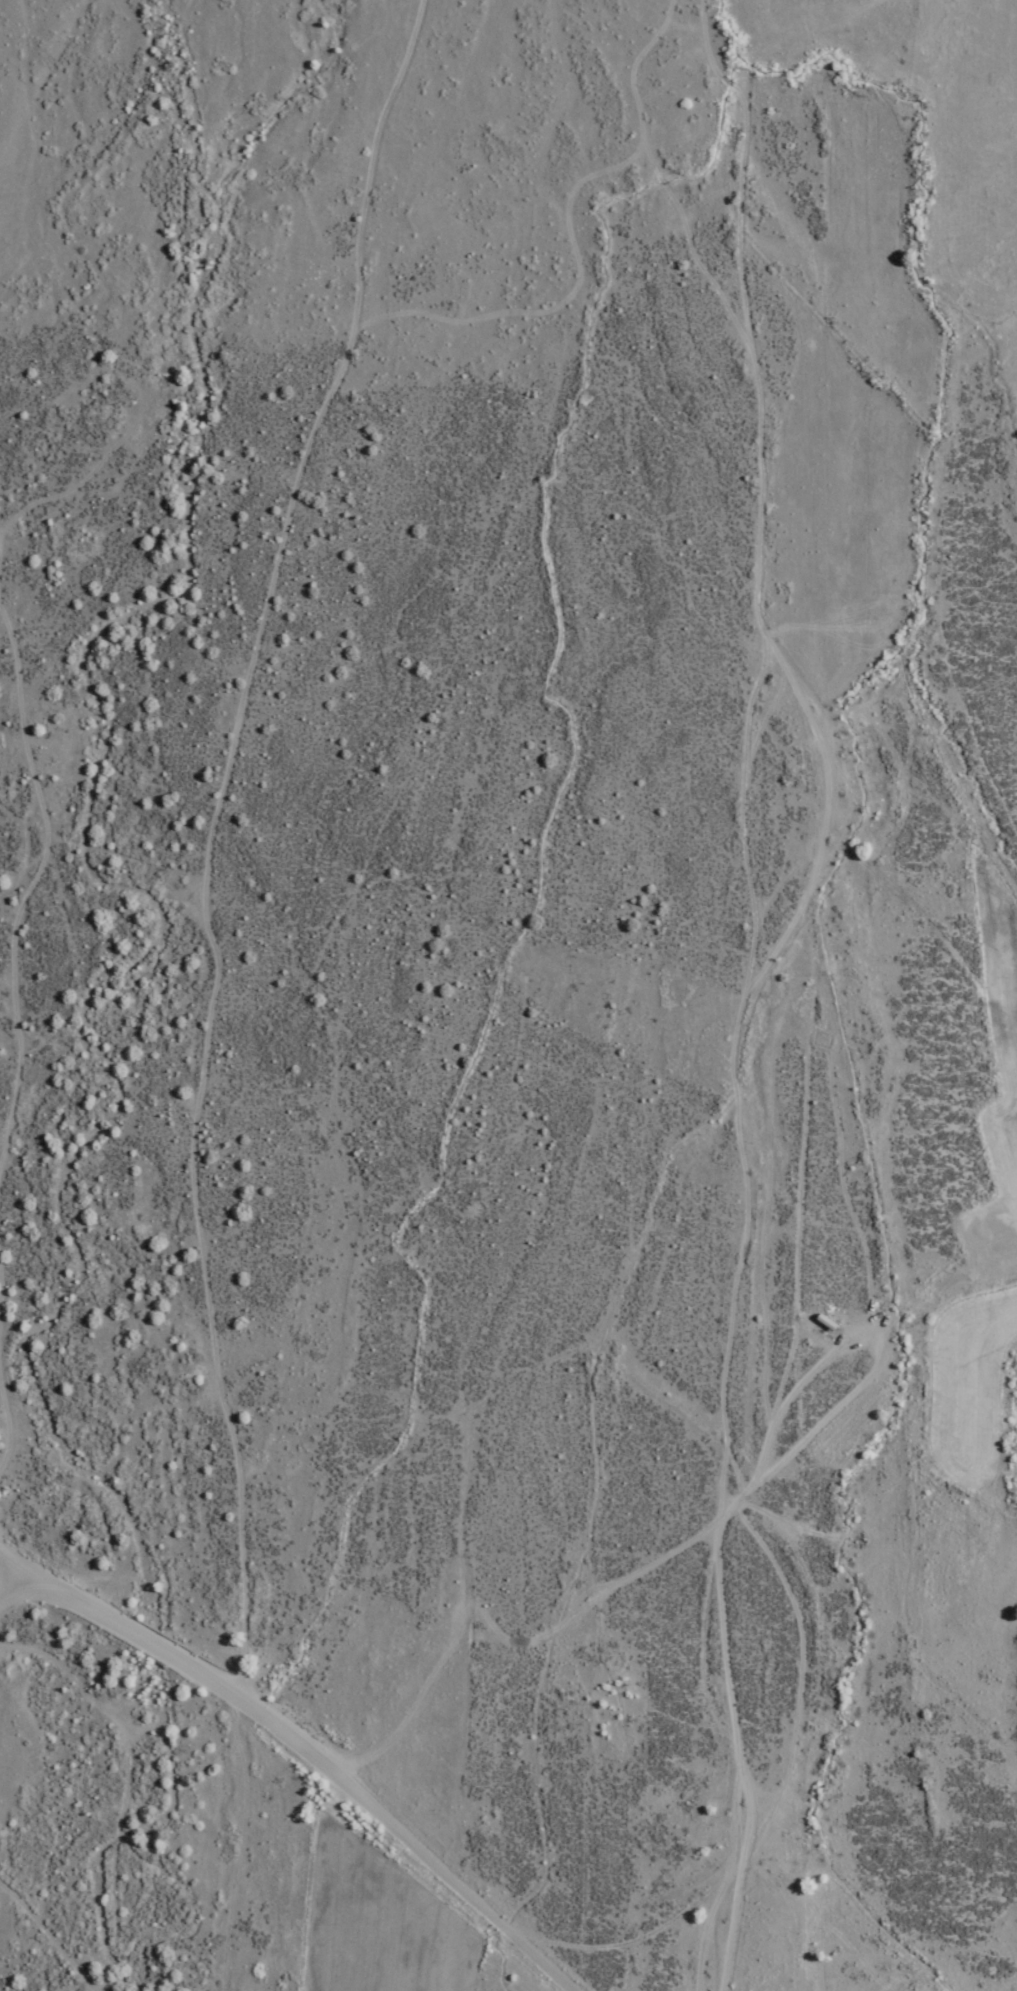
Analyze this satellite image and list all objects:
road: (10, 1585)
road: (305, 1747)
road: (46, 1934)

